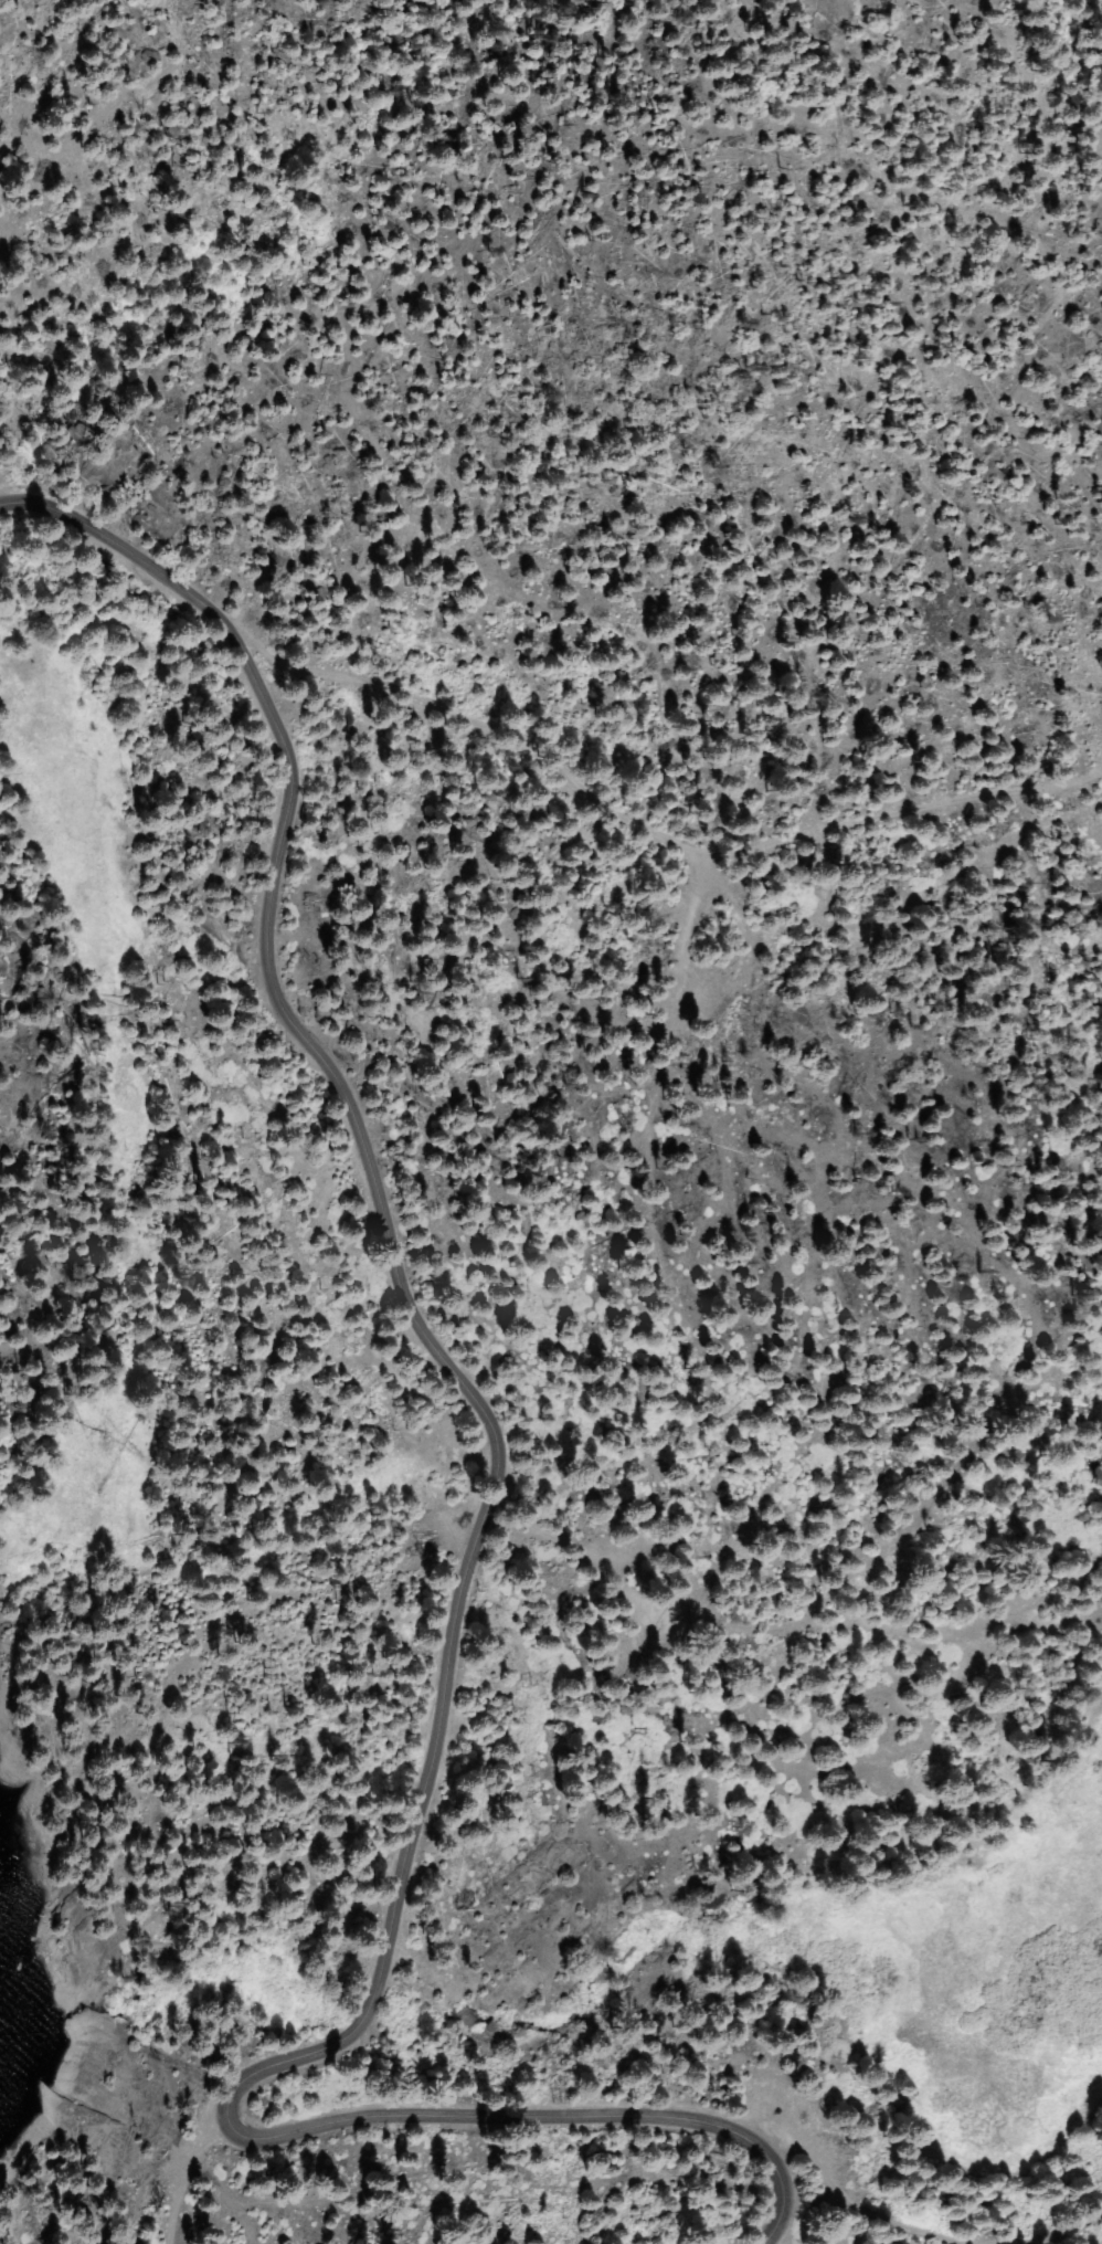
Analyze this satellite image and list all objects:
road: (123, 552)
road: (653, 829)
road: (435, 1715)
road: (183, 2173)
road: (862, 2214)
road: (1053, 2220)

